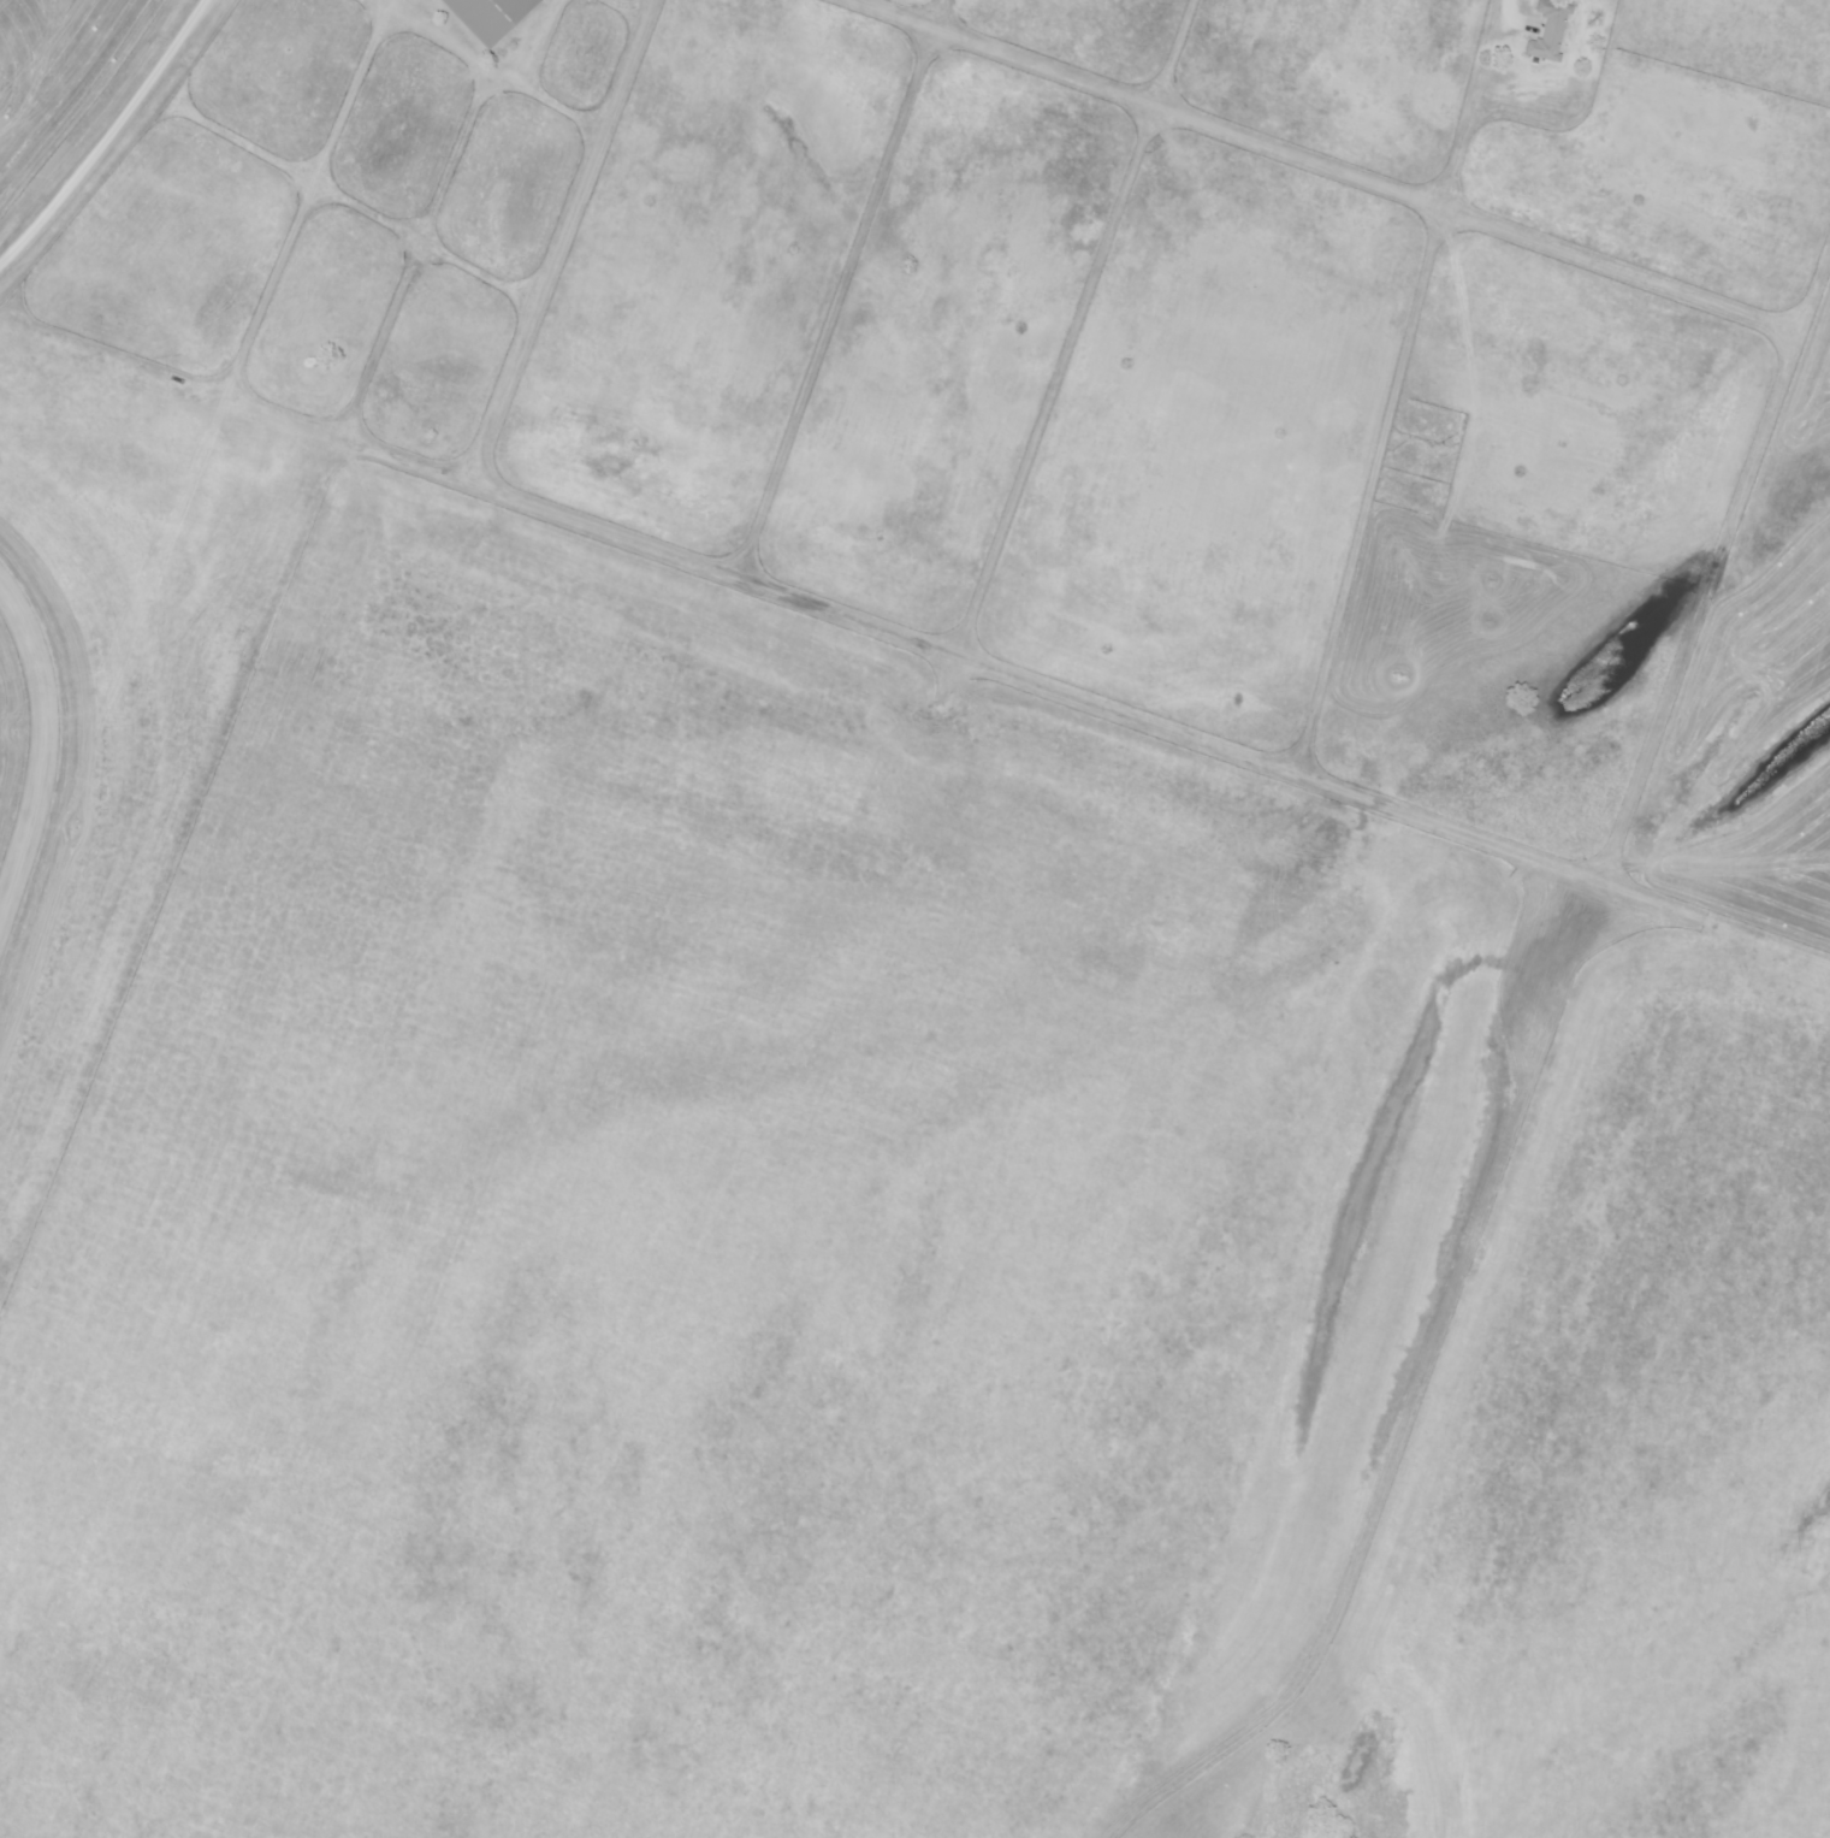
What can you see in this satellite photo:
road: (1516, 7)
building: (486, 16)
building: (1550, 30)
road: (111, 137)

